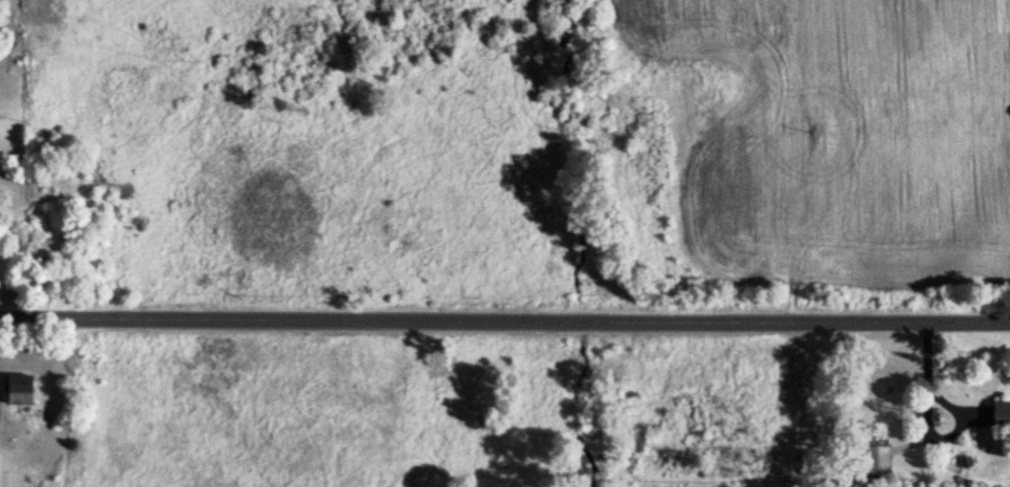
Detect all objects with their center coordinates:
crop: (843, 132)
road: (504, 320)
building: (20, 387)
building: (1002, 411)
road: (927, 420)
road: (911, 443)
building: (868, 460)
building: (966, 461)

